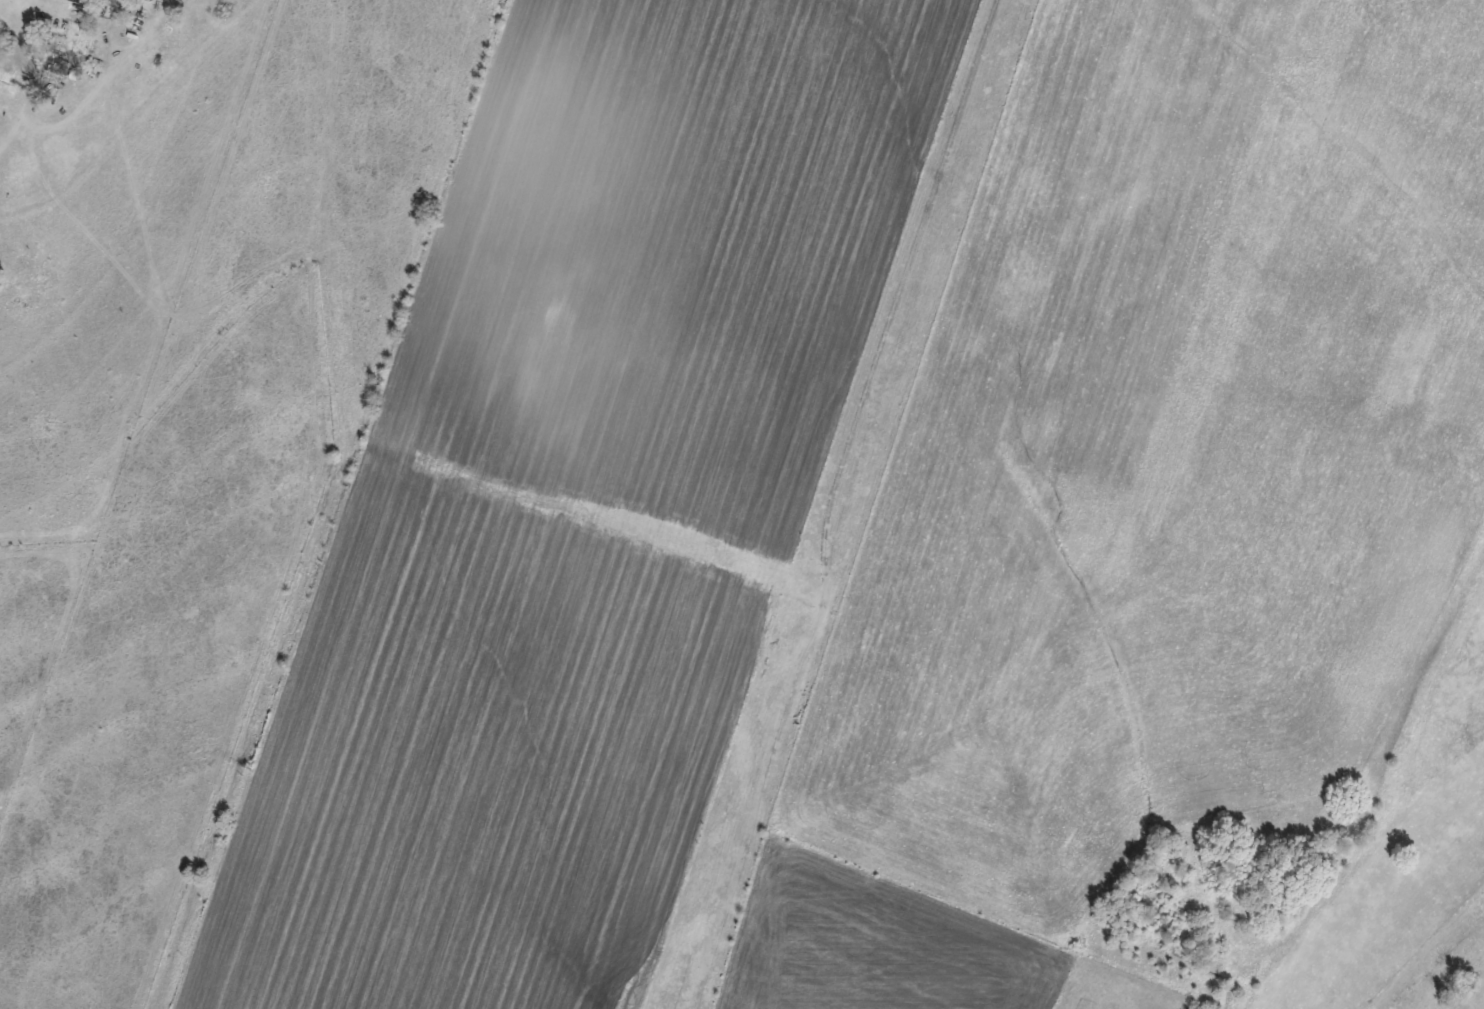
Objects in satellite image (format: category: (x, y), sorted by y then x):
building: (61, 56)
building: (56, 74)

